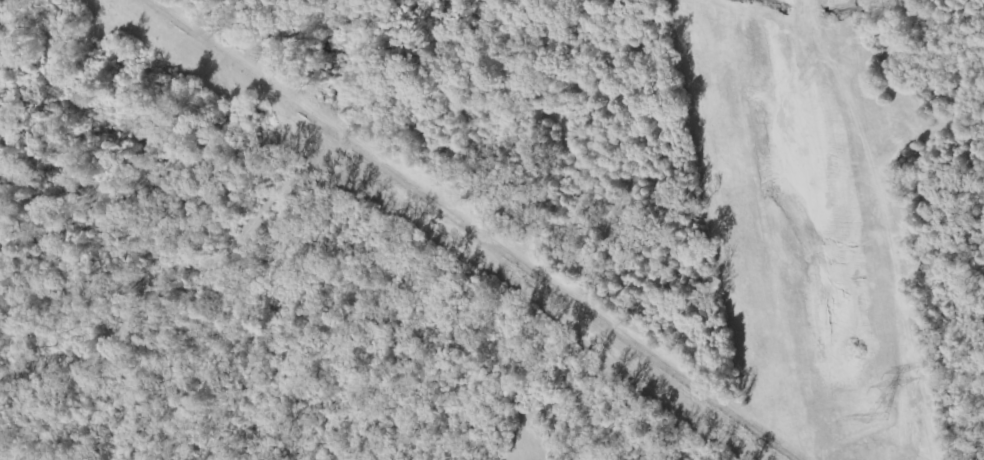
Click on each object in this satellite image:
power tower: (876, 418)

